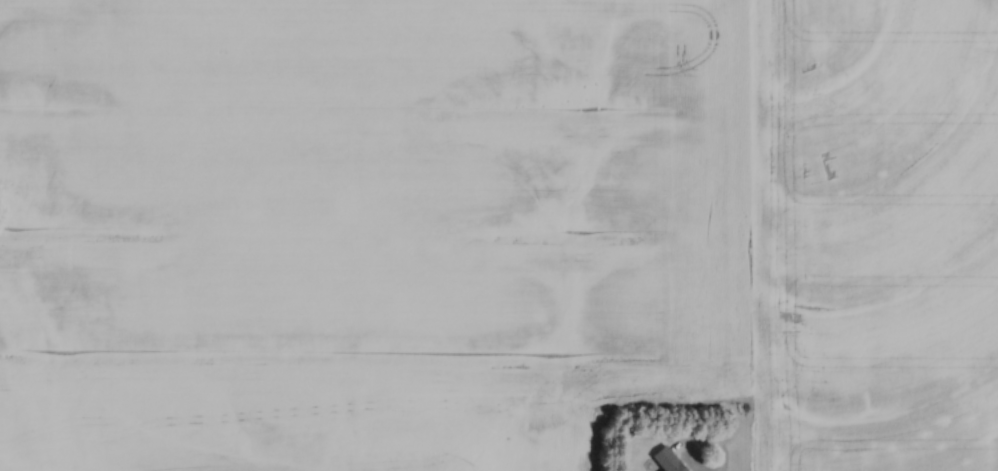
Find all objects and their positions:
building: (673, 459)

